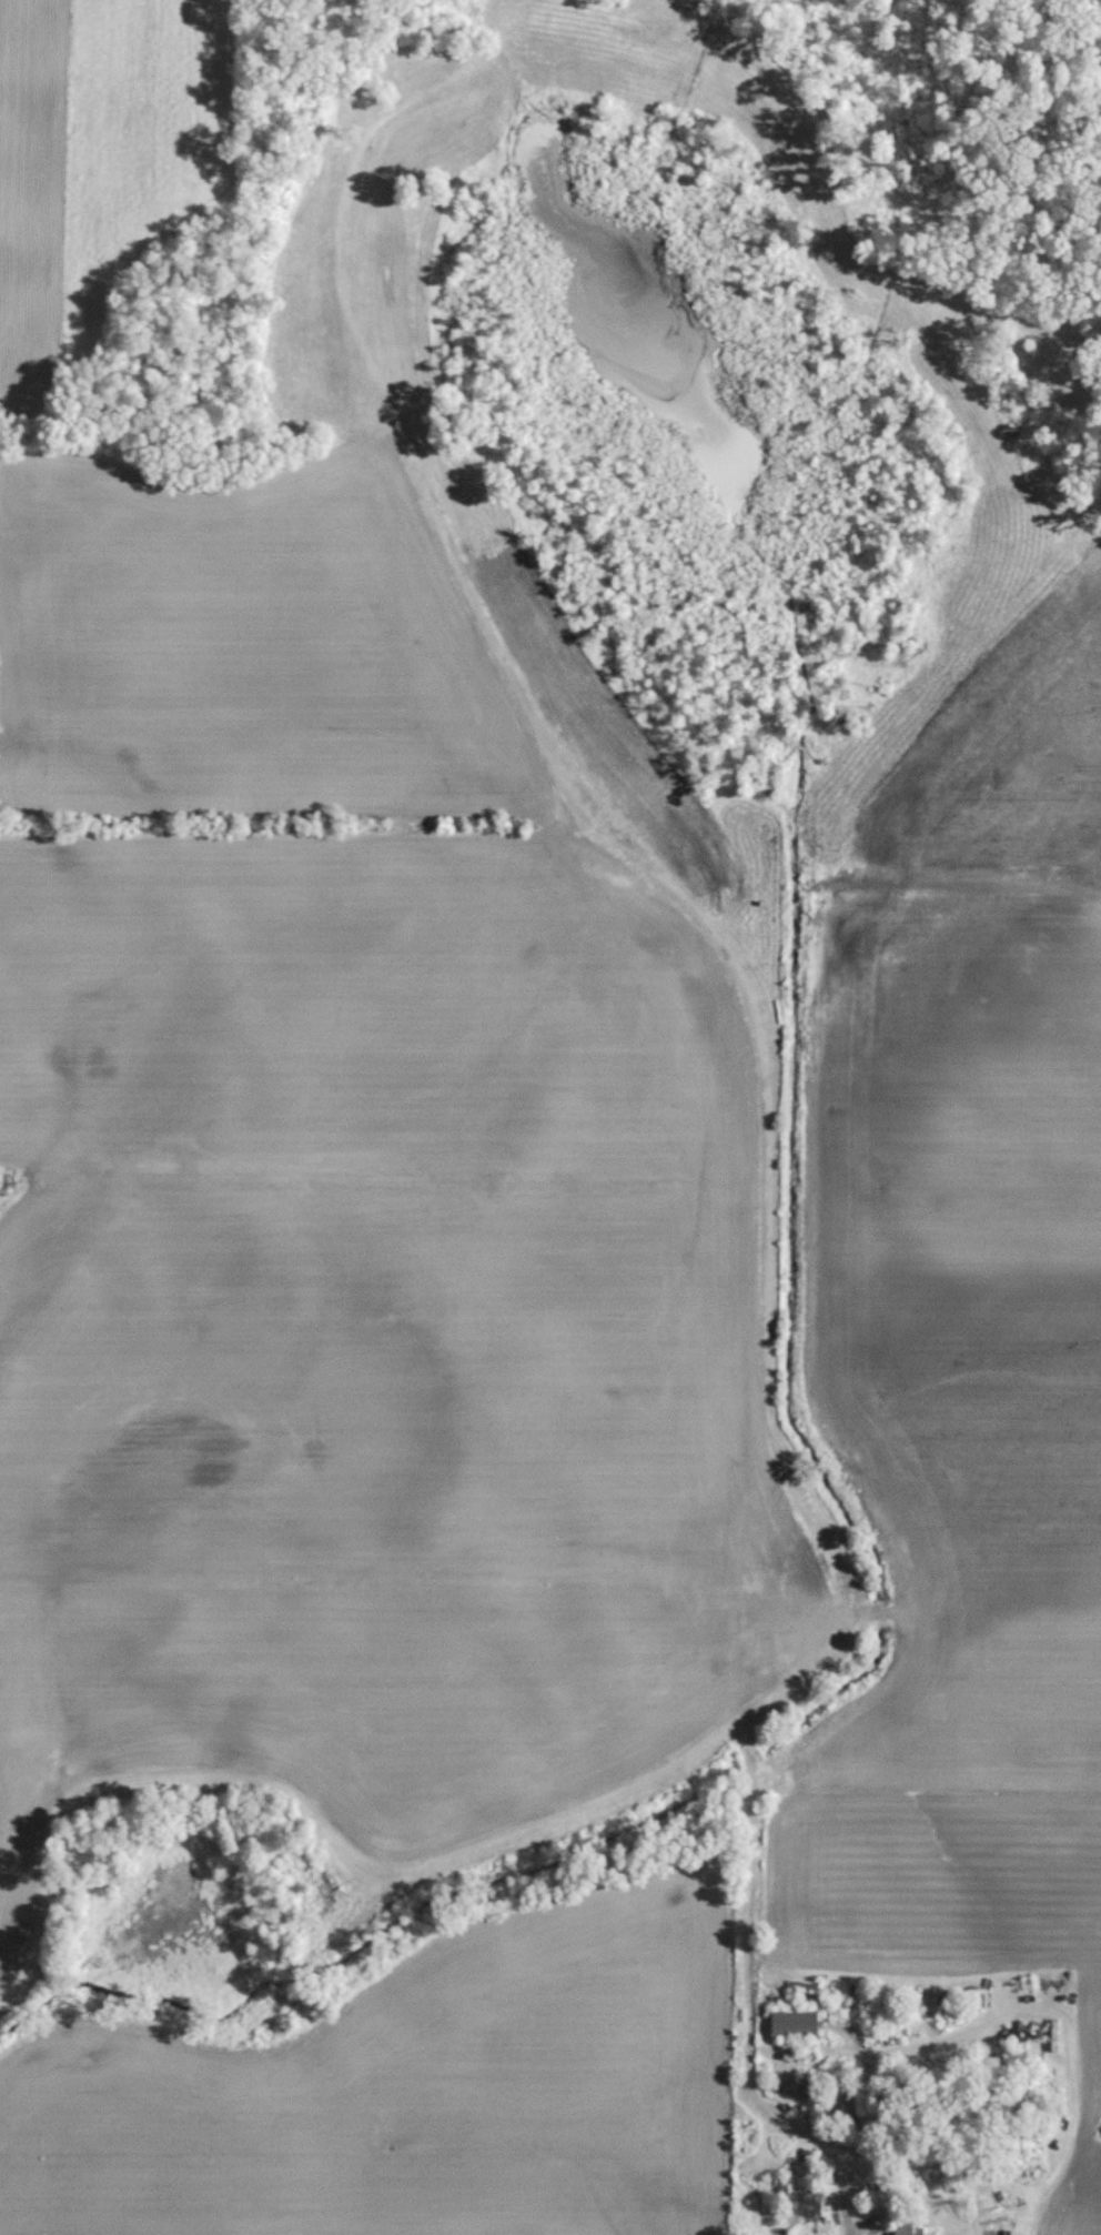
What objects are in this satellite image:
building: (790, 2022)
building: (837, 2101)
road: (857, 2145)
building: (796, 2201)
building: (905, 2226)

